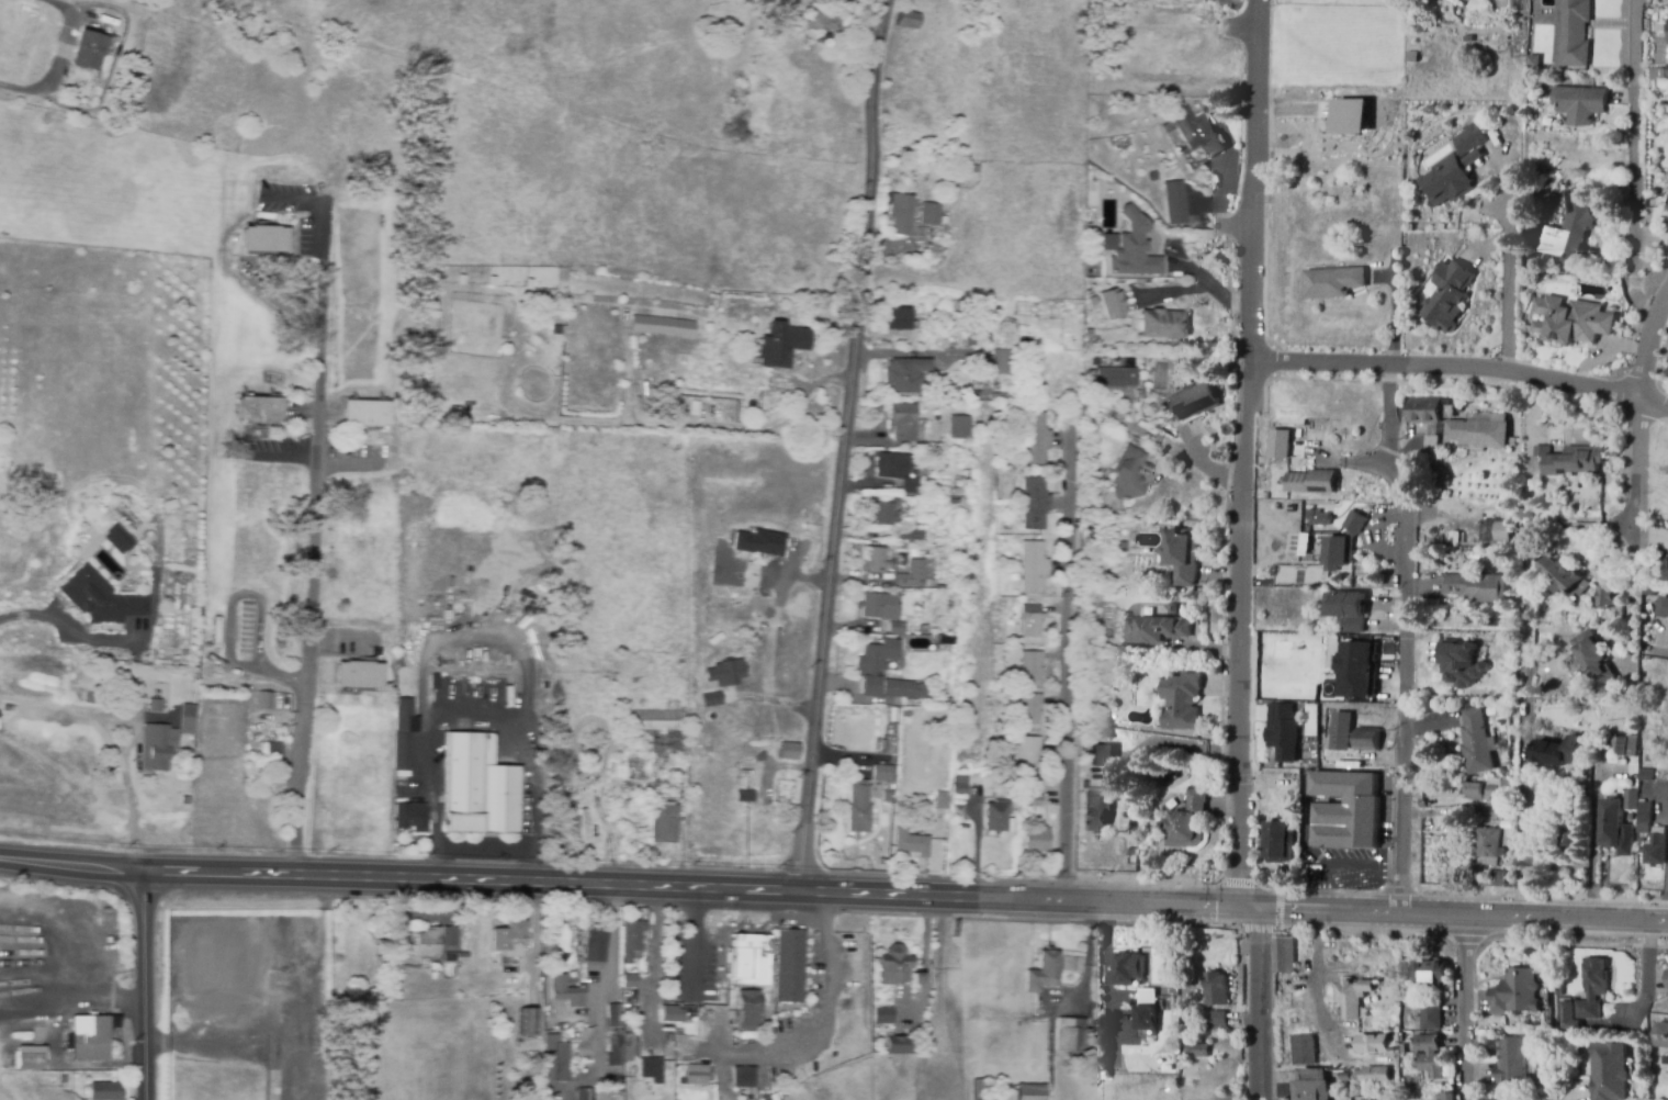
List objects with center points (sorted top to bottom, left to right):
building: (136, 2)
building: (906, 20)
building: (824, 23)
building: (1573, 33)
building: (1468, 40)
building: (88, 50)
building: (1413, 57)
building: (1534, 61)
road: (53, 63)
building: (1600, 85)
building: (1580, 103)
road: (1637, 115)
building: (1354, 117)
building: (1195, 133)
building: (1170, 134)
building: (892, 169)
building: (973, 169)
building: (1451, 170)
building: (1175, 203)
building: (900, 213)
building: (929, 214)
building: (1570, 229)
building: (1378, 237)
building: (268, 239)
building: (1130, 247)
road: (1633, 255)
road: (1511, 265)
building: (1331, 281)
road: (1201, 287)
building: (1446, 295)
road: (1638, 301)
building: (1112, 305)
building: (962, 306)
building: (551, 312)
building: (898, 319)
building: (1569, 319)
building: (662, 324)
building: (1159, 325)
building: (781, 345)
road: (1650, 345)
building: (1002, 362)
building: (1091, 366)
road: (1459, 370)
building: (905, 375)
building: (1667, 375)
building: (1092, 378)
building: (1116, 379)
building: (1130, 395)
building: (1000, 397)
building: (1195, 402)
building: (1423, 409)
building: (259, 411)
building: (367, 413)
building: (903, 422)
building: (1105, 423)
building: (959, 428)
building: (1478, 433)
building: (1035, 438)
road: (839, 444)
building: (1295, 445)
building: (1430, 445)
building: (1541, 449)
building: (1575, 461)
building: (892, 465)
building: (1128, 474)
building: (958, 481)
building: (1312, 481)
building: (911, 486)
building: (956, 492)
building: (176, 502)
building: (1034, 503)
building: (883, 514)
building: (1319, 518)
road: (1600, 525)
road: (1635, 527)
building: (1501, 530)
building: (121, 535)
building: (910, 535)
building: (1455, 536)
road: (313, 539)
building: (113, 541)
building: (762, 541)
building: (1264, 542)
building: (1344, 543)
building: (1123, 548)
road: (1240, 551)
building: (1182, 555)
building: (1113, 560)
building: (877, 561)
building: (1033, 568)
building: (1667, 572)
building: (915, 574)
building: (1563, 577)
building: (1475, 587)
building: (1605, 597)
building: (100, 598)
building: (880, 607)
building: (1663, 608)
building: (1349, 610)
building: (245, 611)
road: (40, 614)
building: (1032, 621)
building: (1119, 624)
building: (1332, 627)
building: (895, 628)
building: (923, 629)
building: (1157, 630)
building: (243, 644)
building: (1507, 649)
building: (1594, 660)
building: (1459, 663)
building: (1028, 664)
building: (875, 665)
building: (1360, 667)
building: (728, 672)
building: (359, 675)
road: (1405, 675)
building: (435, 680)
building: (902, 692)
building: (710, 697)
building: (264, 700)
building: (1182, 701)
building: (157, 706)
road: (1073, 711)
building: (188, 722)
road: (136, 726)
building: (655, 730)
building: (1283, 730)
building: (1341, 730)
road: (518, 731)
building: (404, 732)
building: (1032, 732)
building: (1367, 740)
building: (1477, 743)
building: (1624, 745)
building: (159, 749)
building: (789, 751)
building: (1558, 753)
building: (1103, 757)
building: (275, 759)
building: (1634, 765)
building: (881, 773)
building: (1645, 775)
building: (960, 786)
building: (480, 787)
building: (1484, 792)
building: (745, 794)
road: (1525, 799)
building: (940, 800)
building: (1034, 800)
building: (1630, 800)
road: (433, 805)
building: (1571, 805)
road: (1663, 805)
building: (857, 808)
building: (1346, 810)
building: (1096, 811)
building: (996, 816)
building: (410, 817)
building: (1644, 818)
building: (1187, 821)
building: (663, 824)
building: (1613, 828)
building: (1037, 841)
building: (1639, 841)
building: (1277, 842)
building: (910, 844)
building: (1489, 845)
building: (1569, 846)
building: (1656, 848)
road: (533, 857)
road: (146, 872)
building: (1498, 879)
road: (1237, 882)
road: (1318, 889)
road: (1666, 889)
road: (1524, 893)
road: (981, 896)
traffic signals: (1246, 905)
road: (1276, 908)
road: (1258, 929)
building: (449, 935)
road: (1363, 935)
building: (509, 938)
road: (695, 940)
road: (1464, 940)
building: (632, 941)
road: (1574, 942)
building: (427, 943)
building: (596, 944)
building: (1285, 955)
building: (449, 957)
building: (463, 957)
building: (750, 961)
road: (924, 963)
building: (1072, 964)
road: (656, 965)
building: (789, 965)
building: (893, 966)
building: (1128, 969)
building: (1044, 973)
building: (1431, 973)
building: (629, 978)
building: (917, 978)
building: (1667, 979)
road: (144, 985)
building: (1592, 988)
building: (1216, 989)
building: (566, 991)
building: (1518, 994)
road: (72, 997)
building: (1353, 998)
road: (1465, 1008)
building: (1146, 1009)
building: (748, 1010)
building: (672, 1014)
building: (883, 1017)
building: (1431, 1017)
building: (1218, 1021)
building: (528, 1022)
road: (823, 1022)
building: (630, 1026)
building: (1069, 1034)
building: (1661, 1035)
building: (91, 1037)
building: (1401, 1037)
building: (1373, 1043)
building: (898, 1045)
building: (630, 1046)
building: (1304, 1050)
building: (1402, 1050)
building: (613, 1051)
building: (1198, 1051)
building: (1430, 1055)
building: (29, 1057)
building: (559, 1062)
building: (1513, 1062)
building: (651, 1069)
building: (1608, 1070)
building: (691, 1075)
building: (1375, 1076)
building: (743, 1078)
building: (1312, 1085)
building: (983, 1089)
building: (1029, 1091)
building: (105, 1092)
building: (585, 1095)
building: (1449, 1097)
building: (769, 1098)
road: (1581, 1098)

